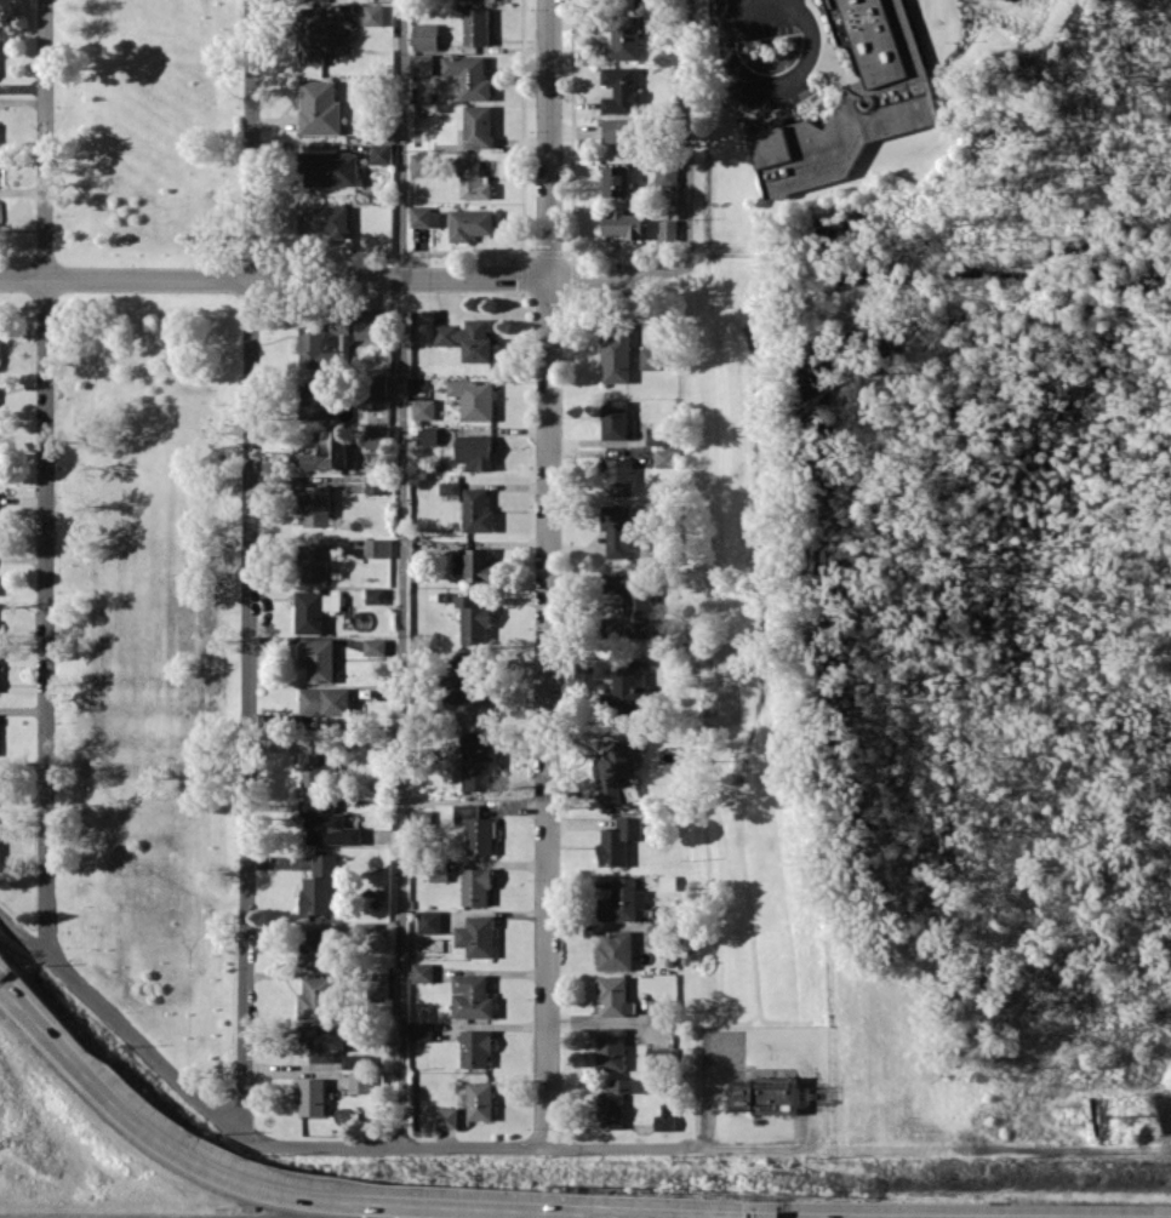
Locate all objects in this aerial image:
road: (749, 0)
building: (619, 1)
building: (375, 13)
parking lot: (769, 18)
building: (478, 25)
building: (320, 34)
building: (425, 35)
building: (624, 38)
road: (822, 38)
road: (921, 38)
building: (377, 39)
building: (875, 42)
building: (422, 63)
building: (470, 76)
road: (787, 78)
parking lot: (767, 87)
building: (621, 90)
building: (320, 107)
road: (799, 108)
road: (777, 118)
building: (479, 126)
road: (689, 130)
building: (627, 135)
building: (836, 137)
building: (382, 153)
building: (421, 164)
building: (330, 167)
building: (667, 176)
building: (474, 179)
building: (616, 181)
building: (424, 217)
building: (324, 221)
building: (470, 223)
building: (623, 223)
building: (668, 229)
road: (345, 276)
building: (468, 338)
building: (313, 353)
building: (617, 354)
building: (651, 358)
building: (377, 388)
building: (318, 398)
building: (473, 398)
building: (423, 408)
building: (615, 418)
building: (428, 435)
building: (377, 436)
building: (656, 438)
building: (329, 450)
building: (474, 451)
building: (666, 457)
road: (45, 476)
building: (618, 476)
building: (375, 484)
building: (449, 487)
building: (315, 504)
building: (478, 510)
park: (147, 515)
building: (619, 530)
building: (378, 547)
building: (314, 561)
building: (474, 564)
road: (250, 566)
road: (401, 573)
road: (547, 573)
building: (375, 594)
building: (630, 604)
building: (314, 610)
building: (474, 619)
building: (375, 646)
building: (318, 658)
building: (626, 685)
building: (473, 686)
building: (325, 703)
building: (478, 762)
building: (318, 764)
building: (618, 766)
building: (327, 823)
building: (476, 828)
building: (618, 840)
building: (439, 874)
building: (319, 885)
building: (476, 886)
building: (622, 900)
building: (429, 921)
building: (655, 934)
building: (476, 936)
building: (319, 948)
building: (615, 950)
building: (422, 972)
building: (379, 984)
road: (10, 993)
building: (613, 995)
building: (472, 996)
building: (316, 997)
road: (10, 999)
building: (658, 1008)
building: (422, 1031)
building: (322, 1040)
building: (475, 1047)
building: (610, 1047)
building: (658, 1052)
building: (353, 1060)
building: (360, 1082)
building: (764, 1094)
building: (312, 1096)
building: (479, 1100)
building: (616, 1100)
building: (446, 1116)
building: (664, 1117)
road: (366, 1148)
road: (892, 1149)
road: (332, 1200)

